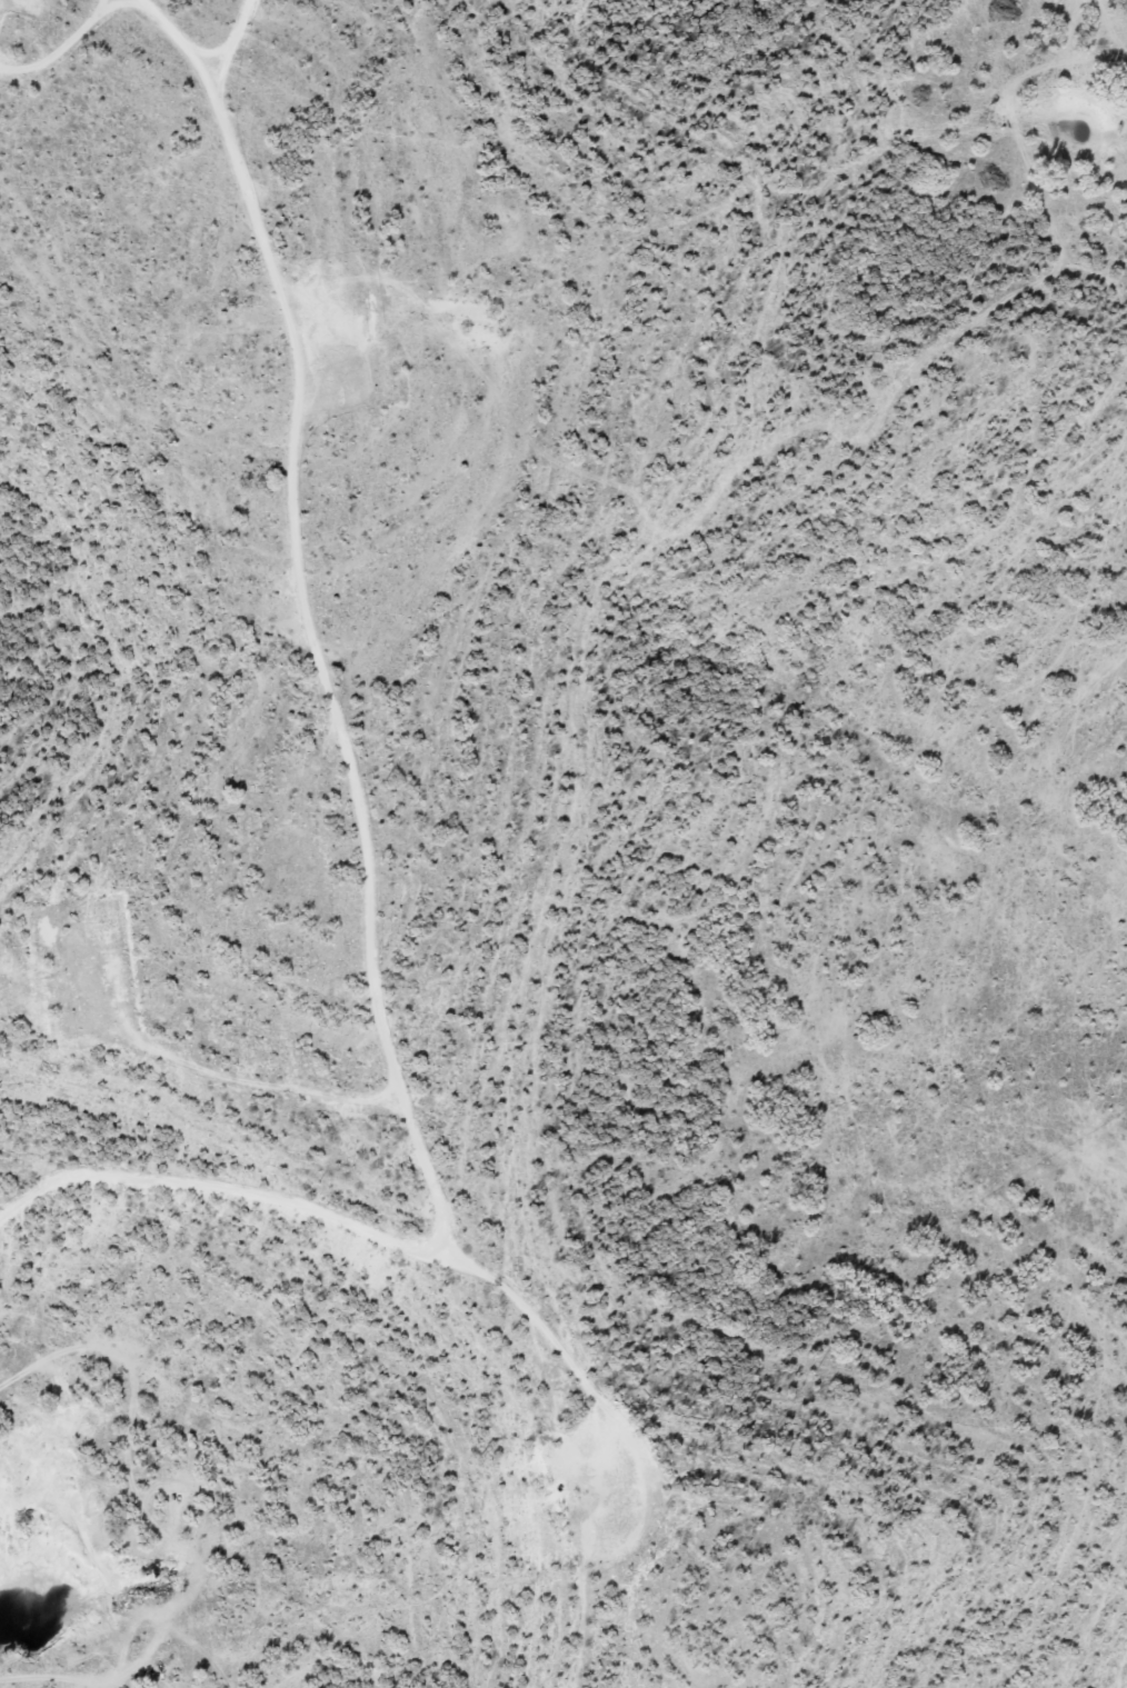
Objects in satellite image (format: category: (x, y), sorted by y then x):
road: (268, 782)
road: (492, 1350)
road: (1009, 1495)

